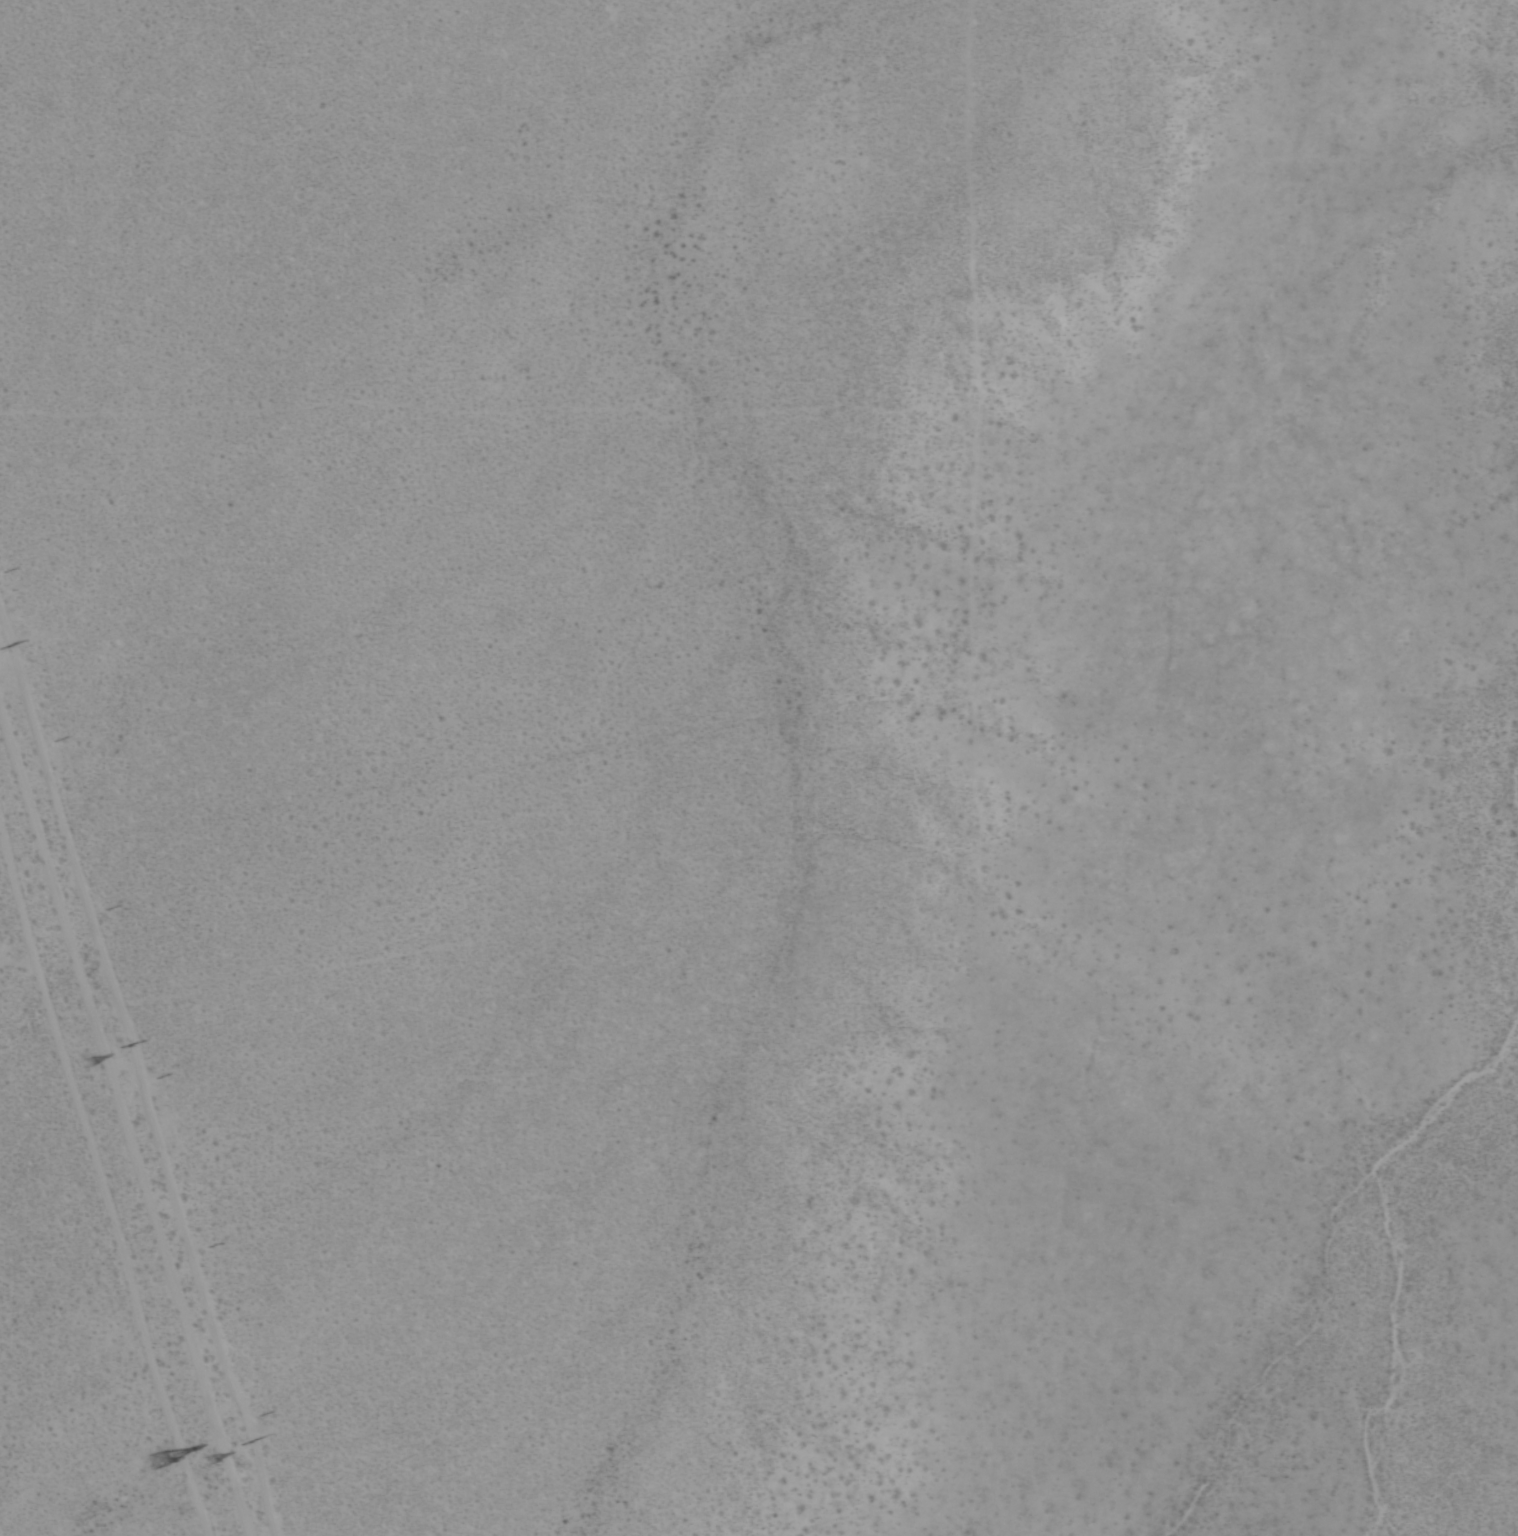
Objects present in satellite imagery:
power tower: (5, 652)
power tower: (124, 1045)
power tower: (84, 1067)
power tower: (247, 1447)
power tower: (159, 1460)
power tower: (202, 1460)

